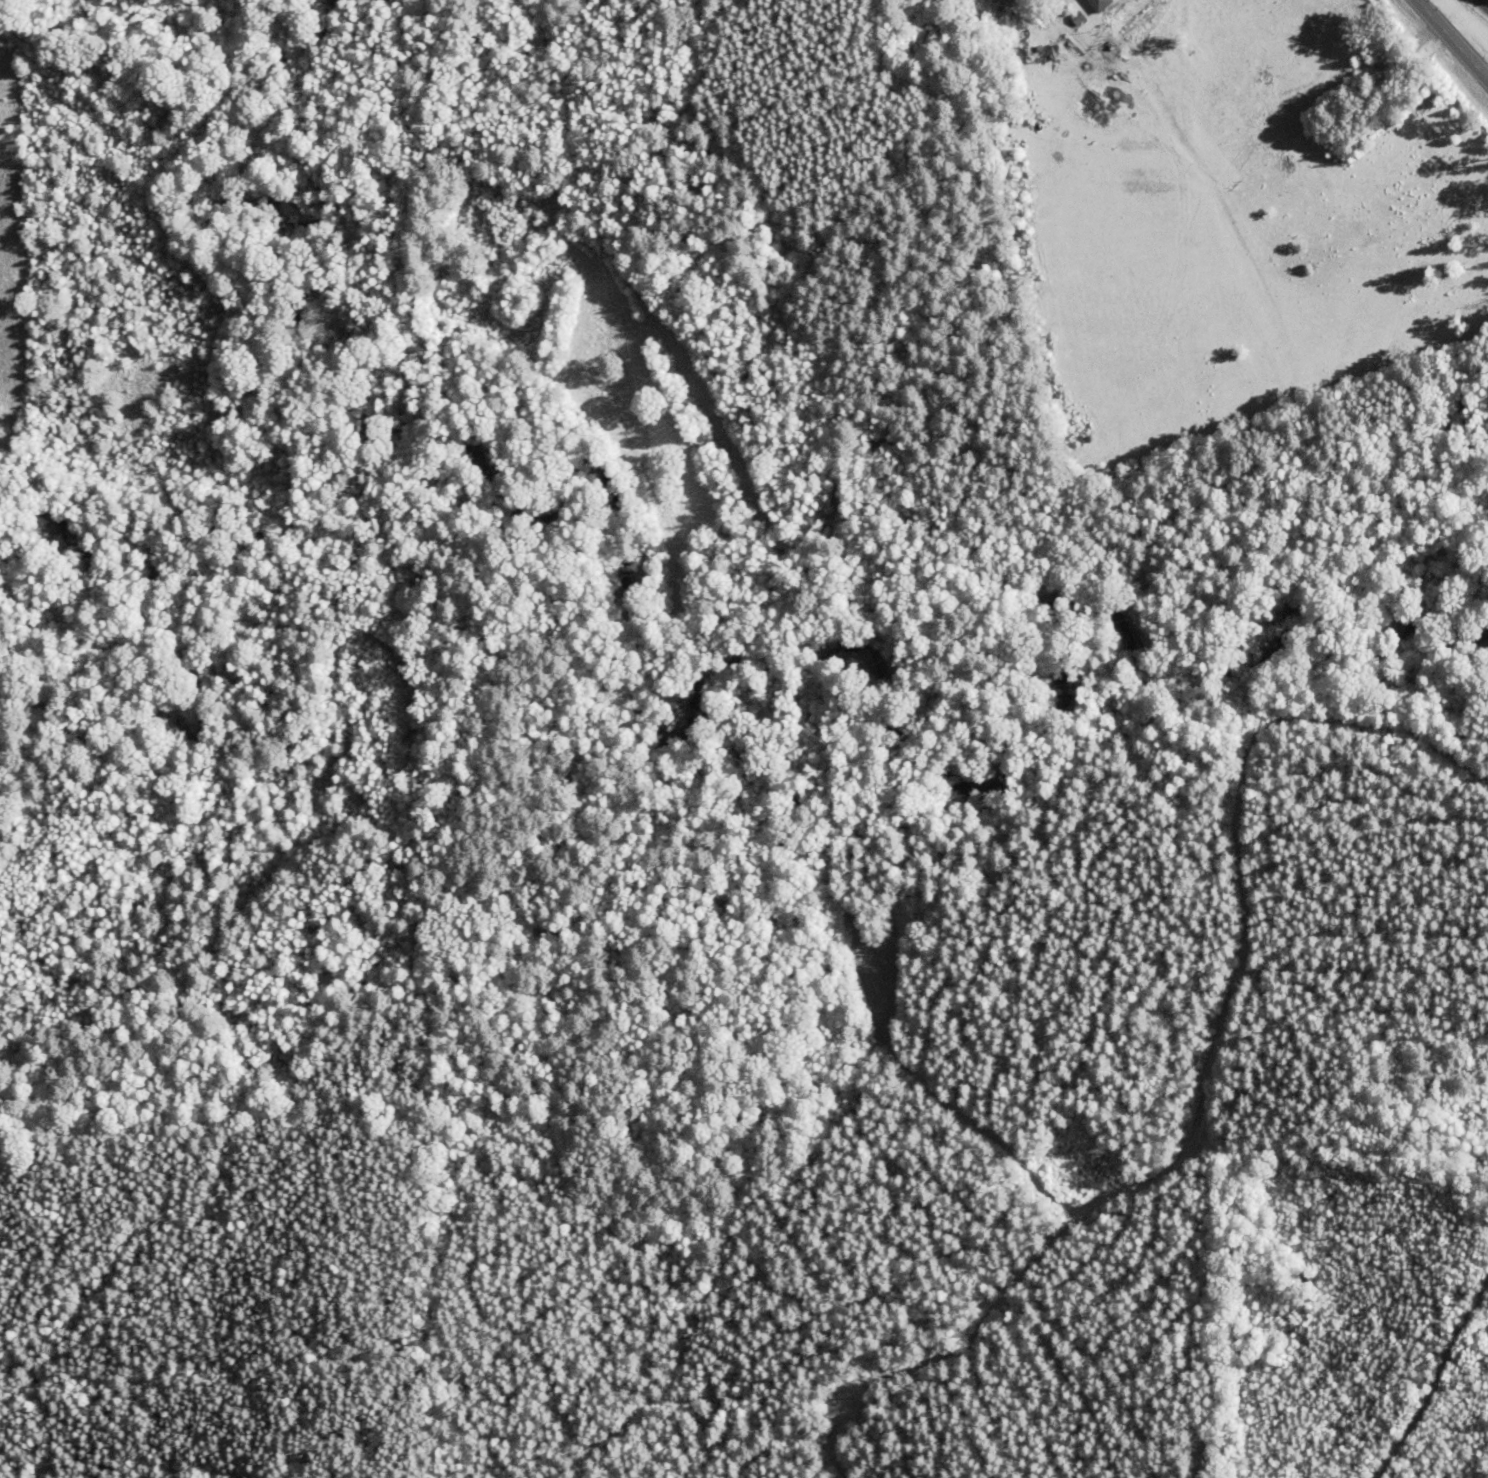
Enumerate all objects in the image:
road: (1451, 40)

